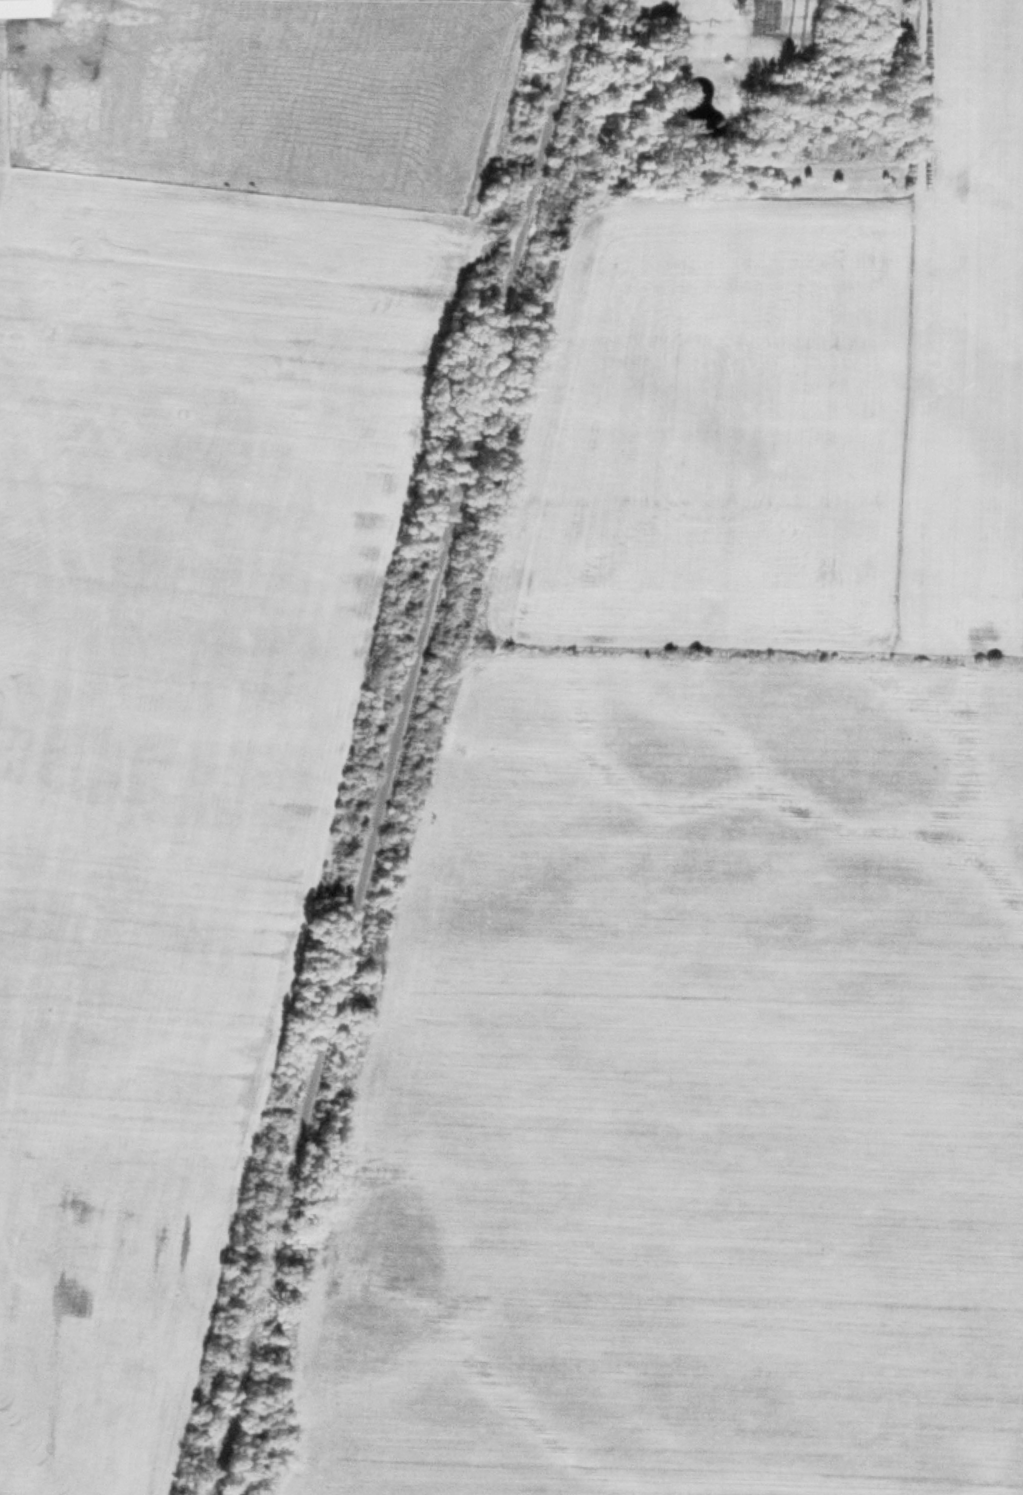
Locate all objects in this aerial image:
building: (20, 7)
road: (394, 748)

